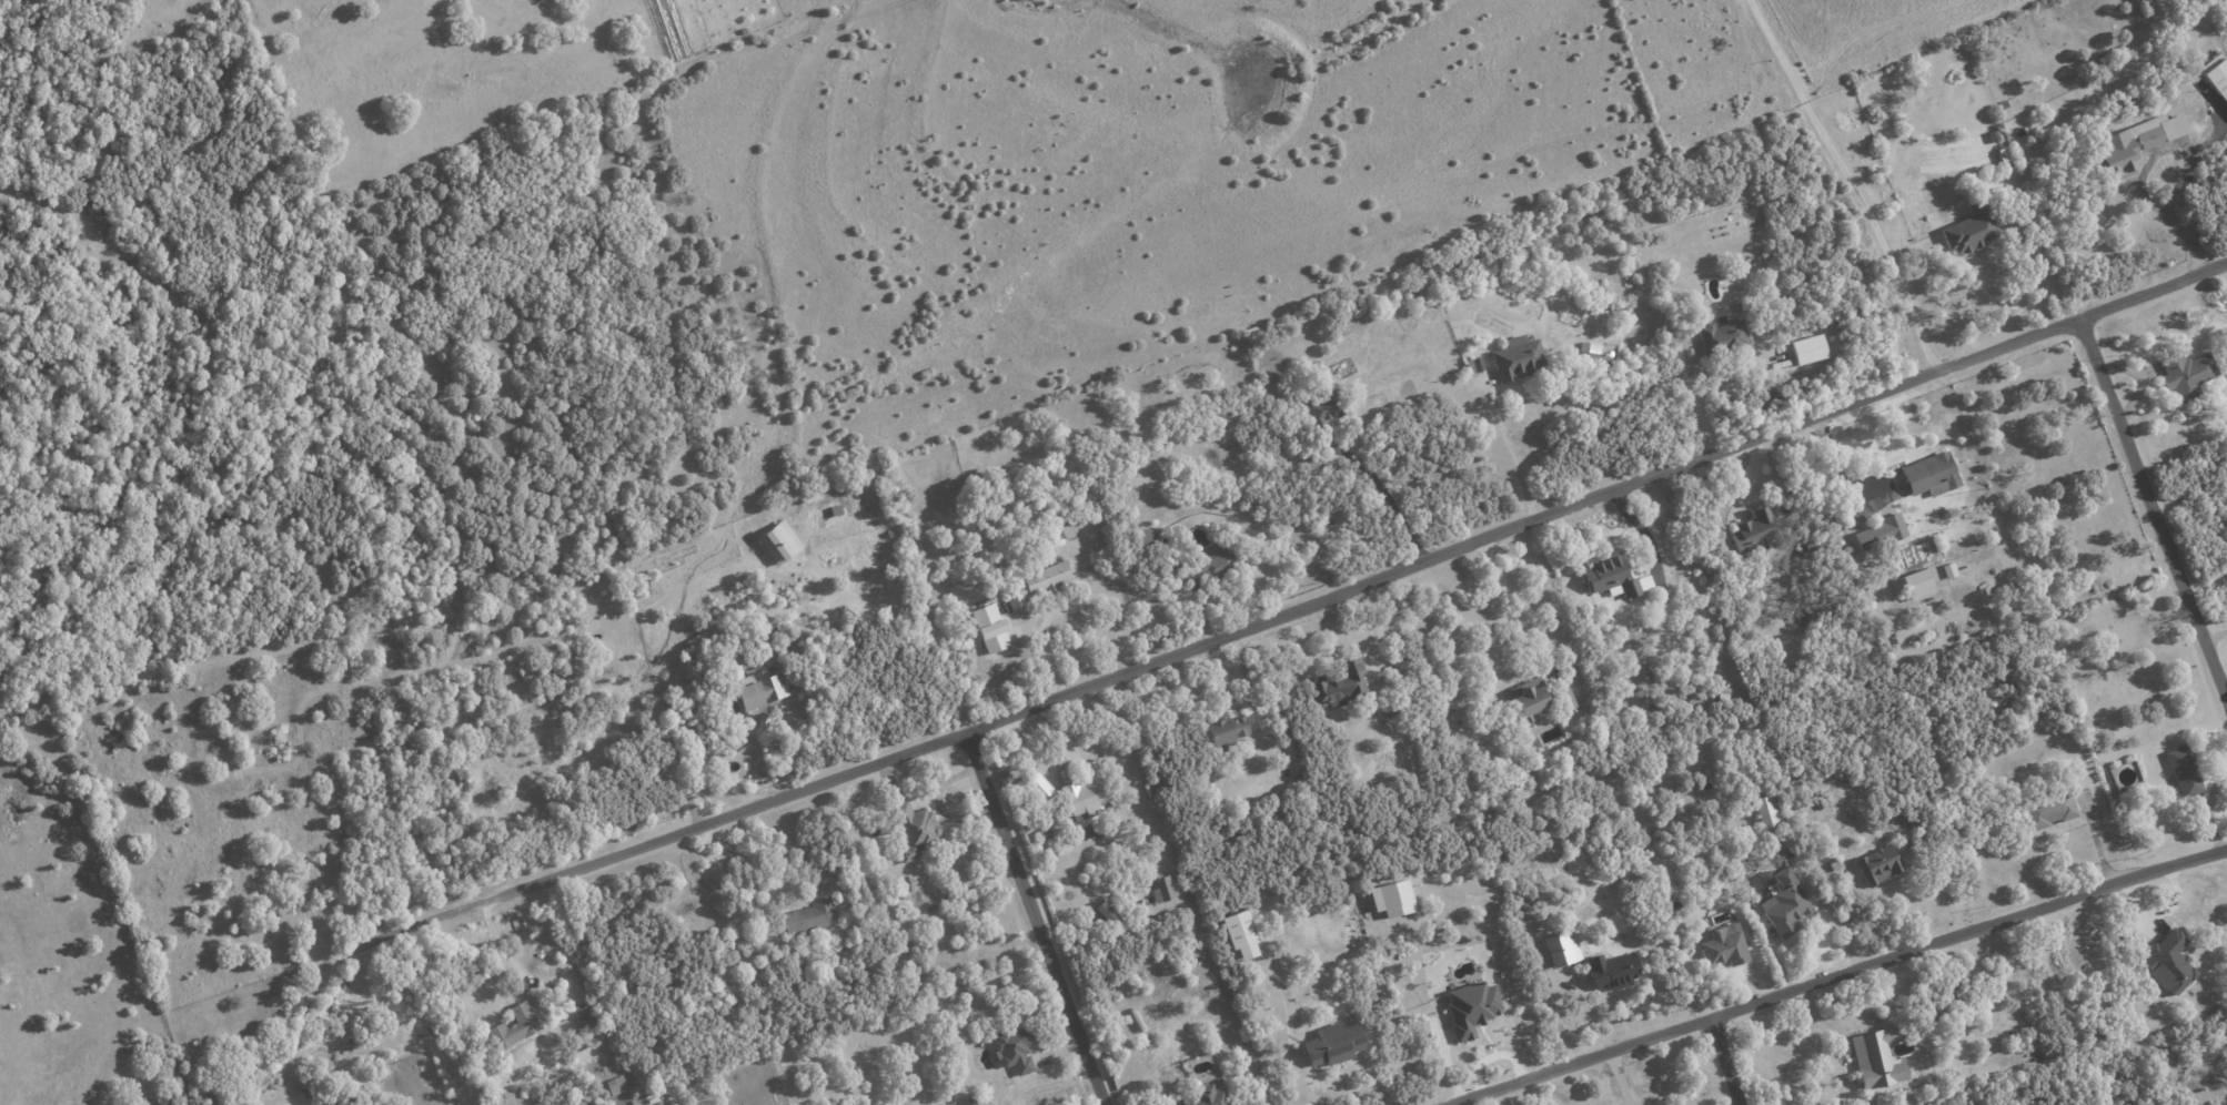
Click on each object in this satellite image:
building: (2216, 74)
building: (2135, 142)
road: (2187, 161)
road: (1851, 182)
building: (1971, 227)
road: (2038, 274)
building: (1720, 335)
building: (1807, 349)
building: (1589, 351)
building: (1516, 357)
building: (1472, 365)
building: (2185, 373)
building: (1321, 406)
road: (1505, 453)
building: (1929, 475)
road: (1384, 493)
road: (2153, 514)
building: (1753, 531)
building: (1881, 533)
building: (1145, 537)
building: (778, 541)
building: (1212, 561)
building: (1947, 570)
building: (1612, 576)
building: (1039, 582)
building: (1916, 584)
road: (1512, 597)
road: (1077, 602)
road: (1280, 616)
building: (990, 628)
building: (1338, 685)
building: (758, 688)
building: (1723, 696)
building: (1528, 699)
building: (1566, 700)
building: (1226, 730)
building: (2183, 770)
building: (1039, 788)
building: (1085, 799)
building: (2049, 810)
building: (1770, 813)
building: (915, 830)
building: (1878, 864)
road: (715, 879)
building: (907, 883)
building: (1161, 890)
building: (1391, 899)
building: (1783, 903)
building: (809, 916)
road: (1034, 918)
building: (1240, 933)
building: (1723, 946)
building: (1561, 947)
road: (510, 961)
building: (2167, 962)
building: (1611, 971)
road: (1840, 977)
building: (1957, 979)
building: (1470, 1007)
building: (585, 1016)
building: (513, 1026)
road: (298, 1028)
building: (1332, 1044)
road: (1828, 1047)
building: (1014, 1048)
building: (1875, 1058)
road: (1725, 1062)
road: (1621, 1079)
building: (615, 1085)
building: (511, 1095)
building: (1205, 1096)
road: (1712, 1097)
building: (673, 1104)

